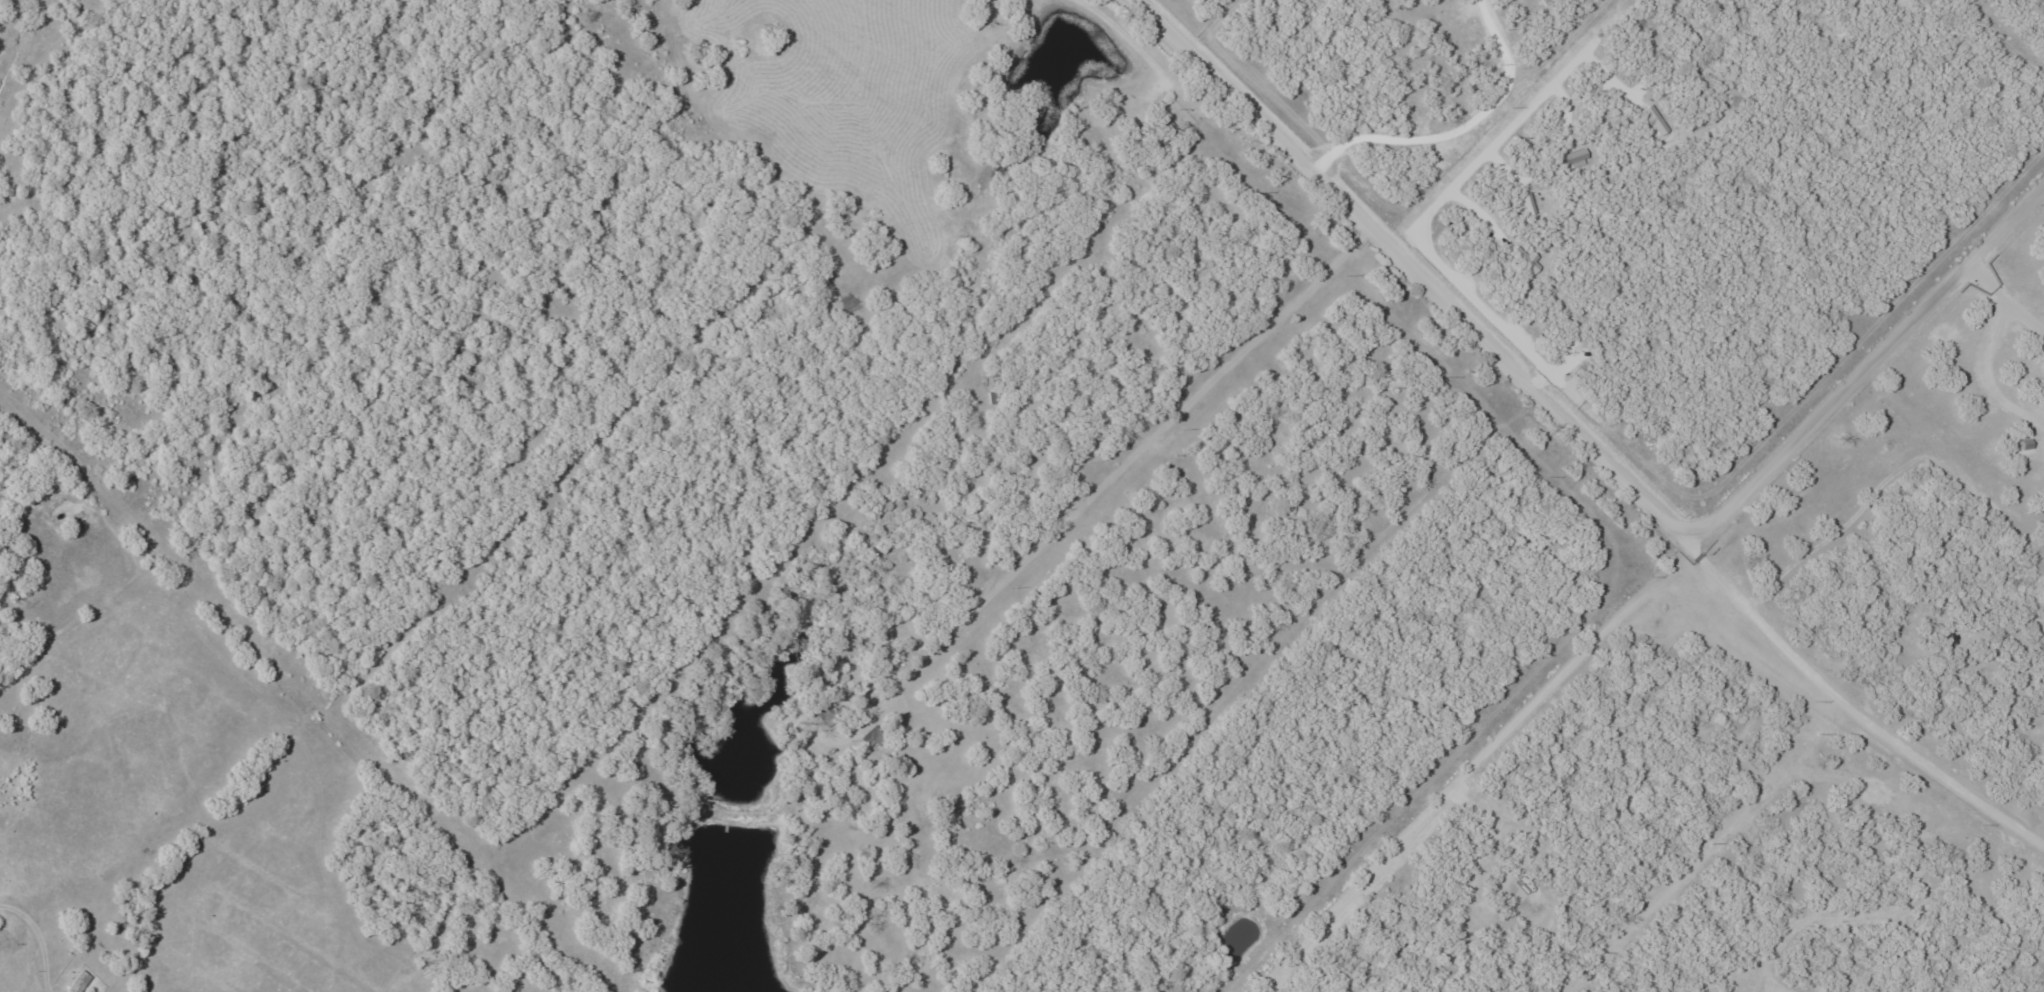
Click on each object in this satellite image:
road: (1586, 422)

